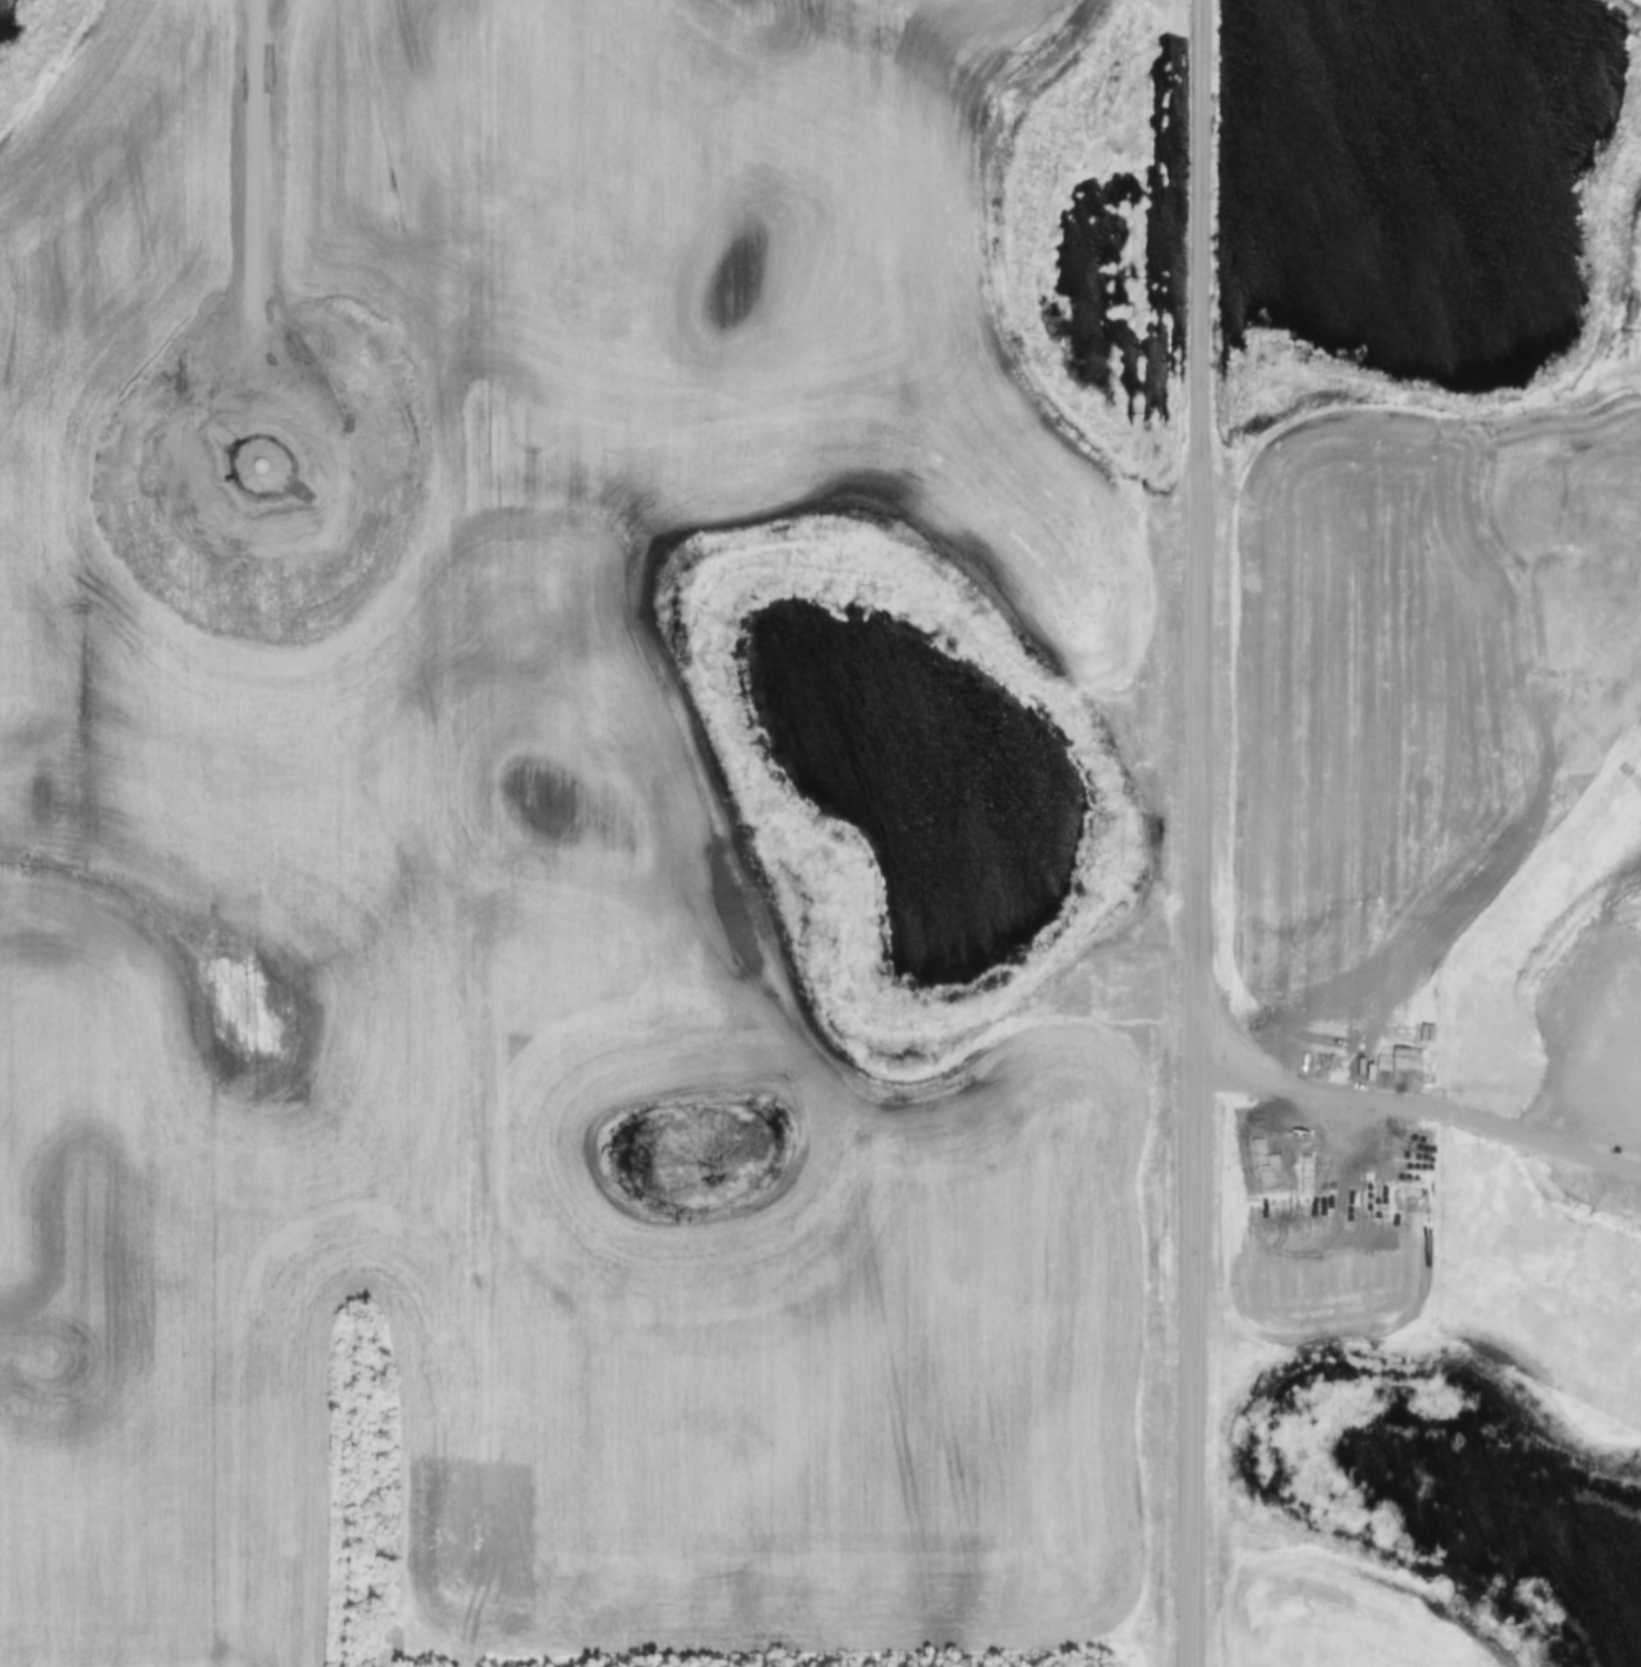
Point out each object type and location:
wind turbine: (266, 465)
road: (1198, 833)
building: (982, 1573)
building: (918, 1576)

